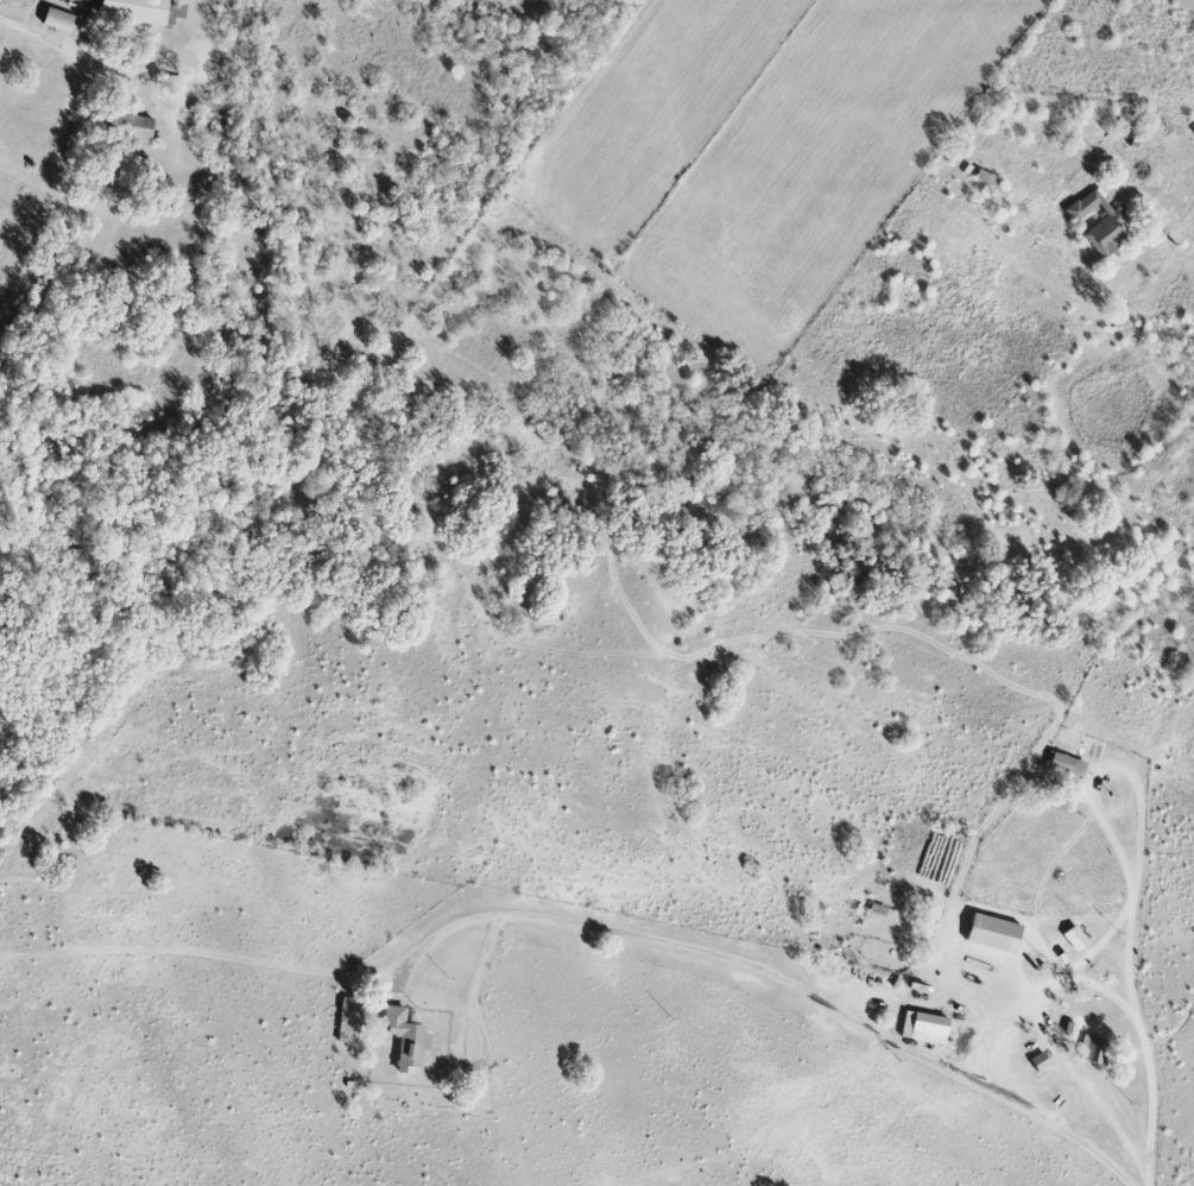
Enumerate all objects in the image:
building: (144, 10)
building: (61, 20)
road: (24, 31)
building: (133, 127)
road: (1183, 204)
building: (1103, 223)
road: (1105, 763)
building: (1067, 764)
building: (997, 933)
building: (1078, 938)
road: (767, 973)
building: (352, 1014)
building: (927, 1028)
road: (984, 1029)
building: (410, 1039)
road: (1043, 1039)
road: (1142, 1043)
building: (1094, 1049)
building: (1042, 1061)
road: (1150, 1180)

